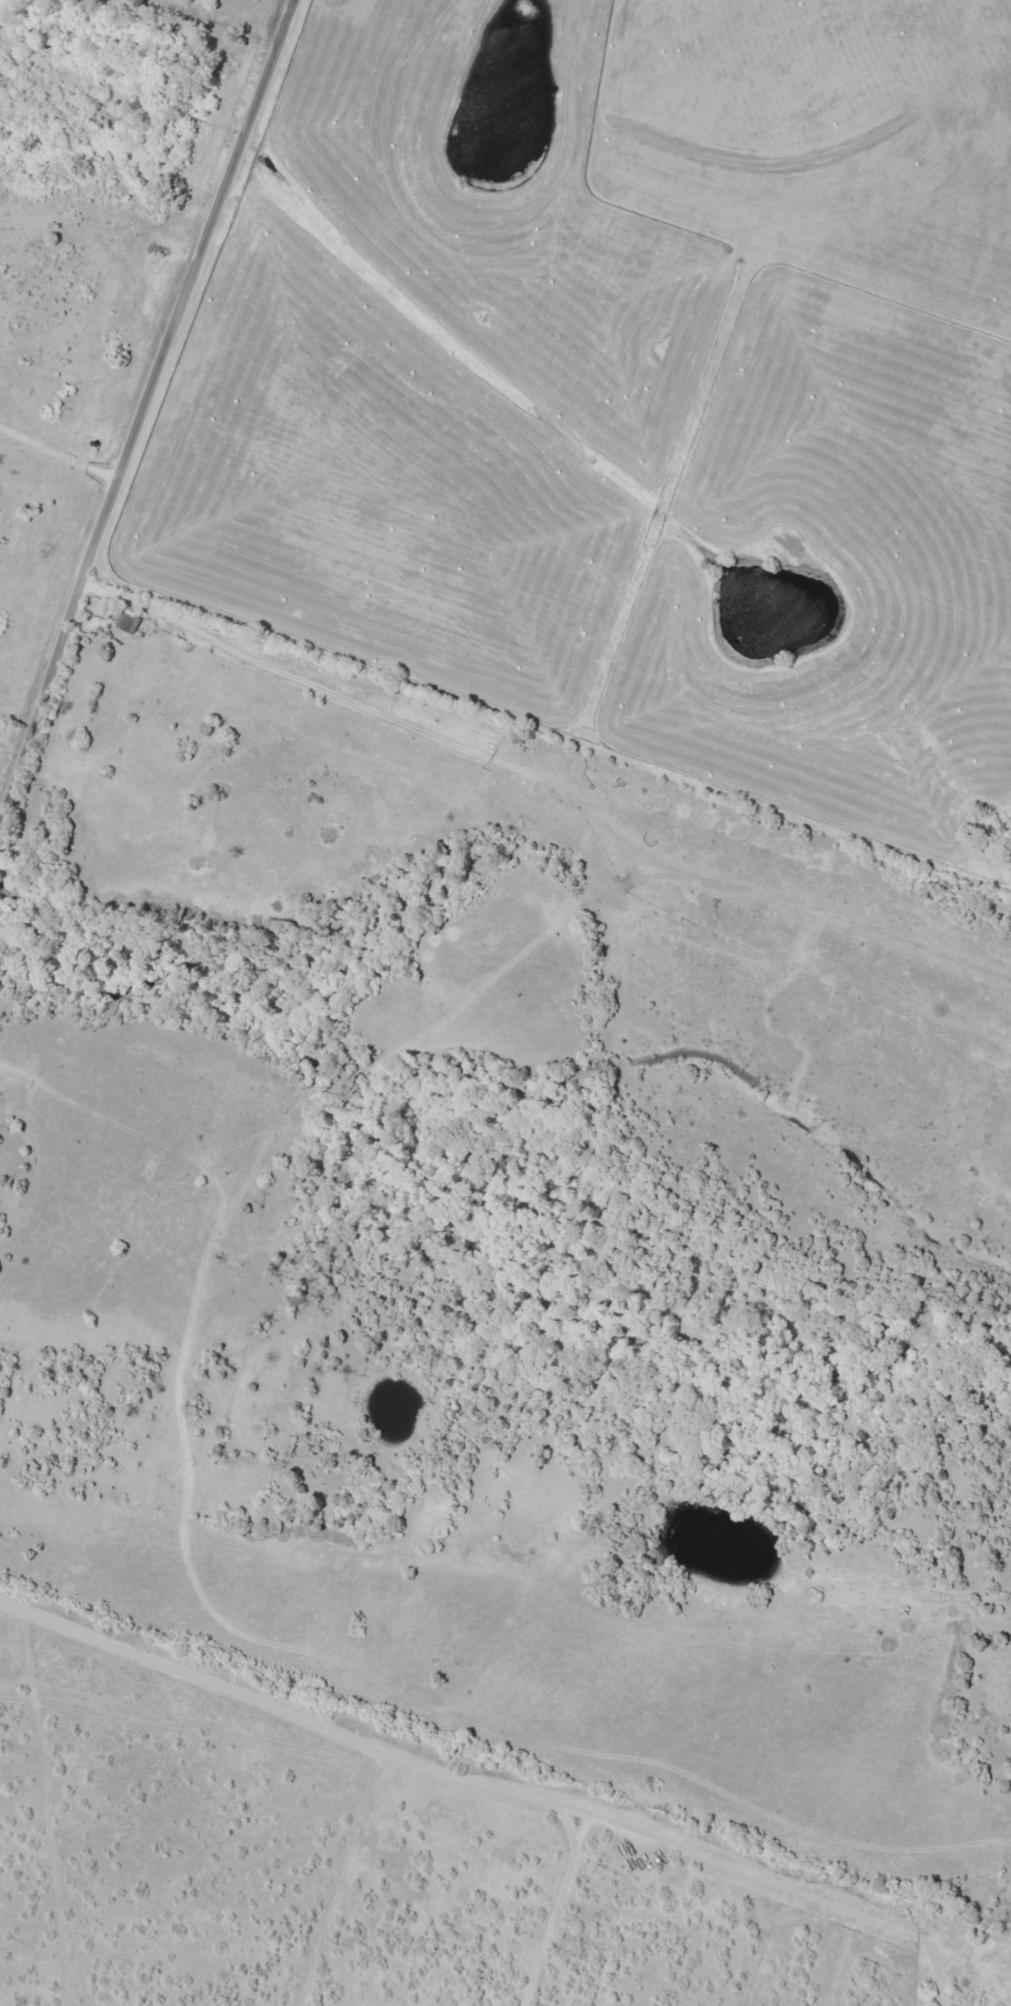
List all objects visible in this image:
road: (155, 423)
road: (491, 1791)
road: (559, 1900)

